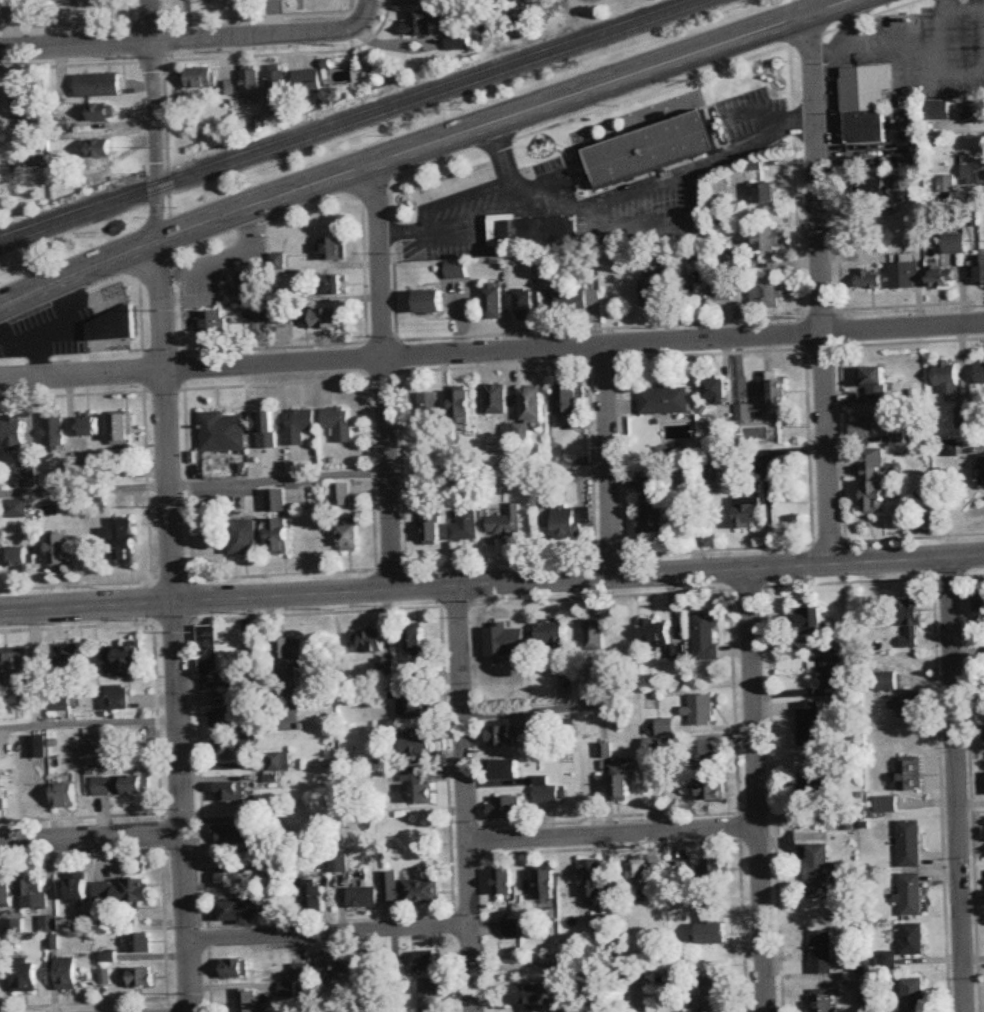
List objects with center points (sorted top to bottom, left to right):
building: (57, 0)
building: (107, 3)
road: (961, 11)
road: (364, 12)
road: (150, 21)
building: (420, 23)
road: (852, 26)
road: (939, 38)
road: (179, 41)
building: (457, 41)
road: (881, 50)
building: (198, 78)
building: (306, 82)
building: (249, 83)
building: (97, 86)
building: (225, 88)
building: (276, 89)
building: (26, 103)
building: (864, 104)
building: (974, 113)
building: (99, 114)
railway: (345, 118)
railway: (359, 123)
road: (153, 141)
road: (423, 147)
building: (99, 149)
building: (652, 150)
building: (40, 161)
road: (502, 168)
building: (973, 171)
building: (873, 188)
building: (765, 194)
road: (606, 205)
building: (536, 232)
building: (767, 239)
building: (954, 244)
building: (331, 248)
building: (277, 261)
building: (721, 263)
building: (458, 270)
building: (980, 270)
building: (904, 276)
building: (941, 279)
building: (868, 280)
building: (241, 284)
building: (332, 285)
road: (822, 289)
building: (686, 290)
building: (722, 292)
building: (650, 294)
building: (767, 294)
building: (579, 300)
building: (431, 302)
building: (494, 302)
building: (527, 306)
building: (287, 316)
building: (256, 317)
building: (329, 319)
building: (210, 325)
building: (111, 326)
building: (46, 336)
road: (492, 353)
road: (386, 375)
building: (980, 375)
building: (948, 379)
building: (874, 383)
building: (713, 392)
building: (775, 396)
building: (497, 400)
building: (566, 401)
building: (662, 401)
building: (531, 405)
building: (461, 407)
building: (430, 409)
building: (963, 418)
building: (339, 423)
building: (300, 425)
building: (89, 427)
building: (863, 427)
building: (121, 429)
building: (54, 430)
building: (266, 430)
building: (14, 431)
building: (222, 433)
building: (949, 449)
road: (608, 463)
building: (983, 471)
building: (27, 476)
building: (875, 481)
road: (195, 484)
building: (646, 484)
building: (341, 494)
building: (276, 501)
building: (16, 508)
building: (0, 510)
building: (652, 514)
building: (750, 516)
building: (506, 522)
building: (569, 523)
building: (466, 526)
building: (430, 529)
building: (279, 537)
building: (350, 537)
building: (246, 538)
building: (125, 541)
building: (59, 551)
building: (20, 557)
road: (492, 584)
building: (980, 607)
building: (810, 625)
building: (910, 625)
road: (175, 626)
building: (655, 631)
building: (551, 635)
building: (595, 635)
building: (706, 637)
building: (418, 640)
building: (371, 642)
building: (220, 648)
building: (290, 651)
building: (69, 658)
building: (123, 661)
building: (830, 665)
building: (385, 666)
building: (18, 676)
building: (288, 685)
building: (115, 697)
building: (59, 702)
building: (910, 706)
building: (415, 708)
building: (700, 711)
building: (228, 719)
road: (89, 722)
building: (809, 724)
building: (499, 736)
building: (417, 743)
building: (37, 747)
building: (228, 750)
building: (703, 755)
building: (95, 756)
building: (279, 762)
building: (507, 770)
building: (908, 773)
building: (413, 774)
road: (957, 784)
building: (123, 786)
building: (812, 787)
building: (623, 788)
building: (546, 790)
building: (710, 790)
road: (754, 791)
building: (232, 792)
building: (421, 794)
building: (2, 795)
building: (66, 796)
road: (465, 798)
building: (885, 805)
building: (505, 808)
building: (232, 834)
road: (611, 834)
road: (91, 842)
building: (910, 843)
building: (339, 862)
building: (819, 867)
building: (712, 869)
building: (680, 870)
building: (231, 878)
building: (592, 878)
building: (504, 882)
building: (646, 883)
building: (547, 884)
building: (391, 887)
building: (78, 890)
building: (423, 891)
building: (123, 892)
building: (33, 893)
building: (6, 894)
building: (911, 894)
building: (363, 898)
building: (313, 899)
building: (235, 911)
building: (602, 923)
building: (512, 929)
road: (330, 934)
building: (912, 939)
building: (140, 943)
building: (821, 952)
building: (426, 960)
building: (333, 963)
building: (235, 968)
building: (67, 973)
building: (25, 978)
building: (141, 978)
building: (431, 995)
building: (912, 995)
building: (520, 996)
building: (715, 998)
building: (247, 1001)
building: (824, 1003)

